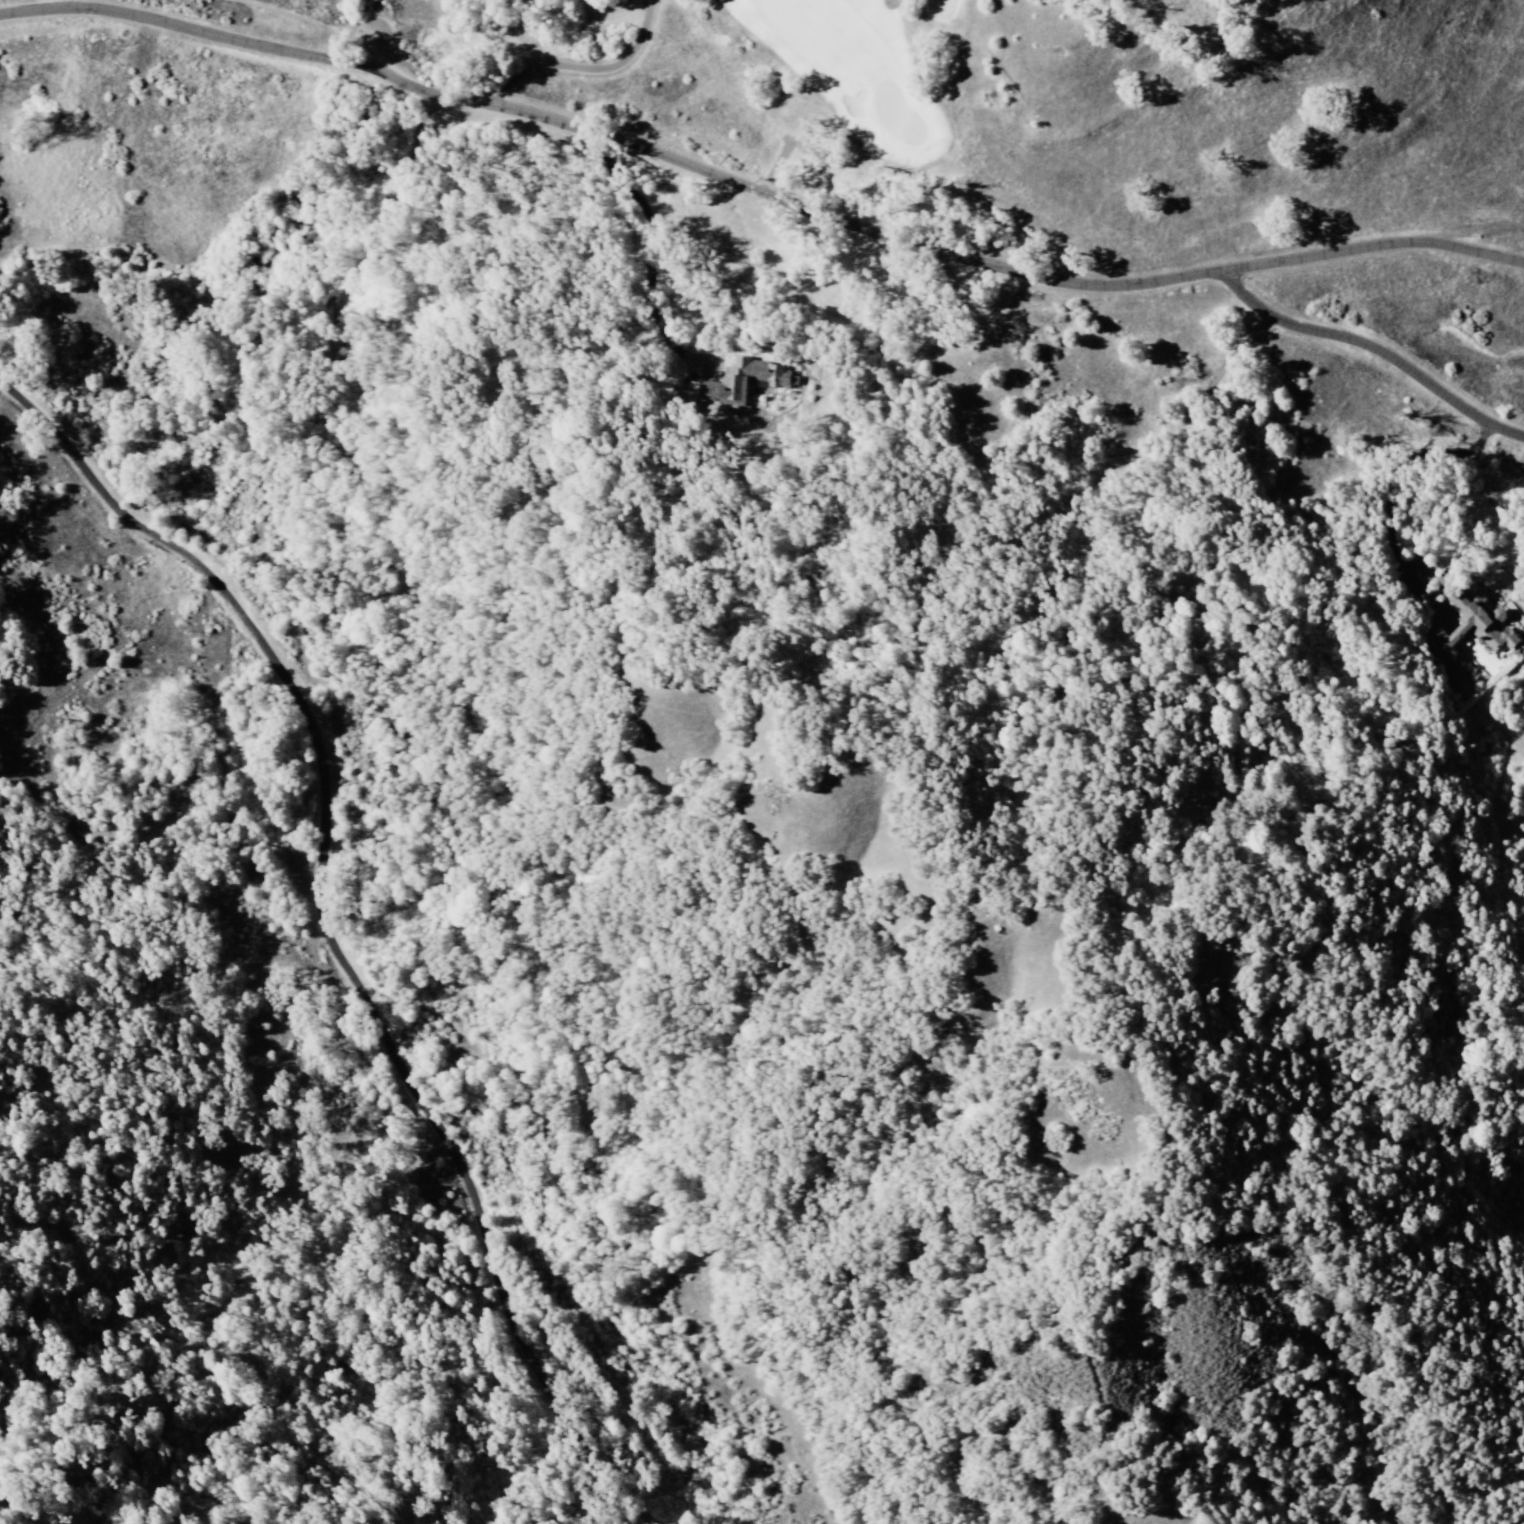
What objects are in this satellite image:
road: (889, 0)
park: (878, 78)
park: (896, 118)
road: (758, 184)
road: (1377, 343)
building: (751, 377)
building: (1500, 640)
road: (334, 931)

